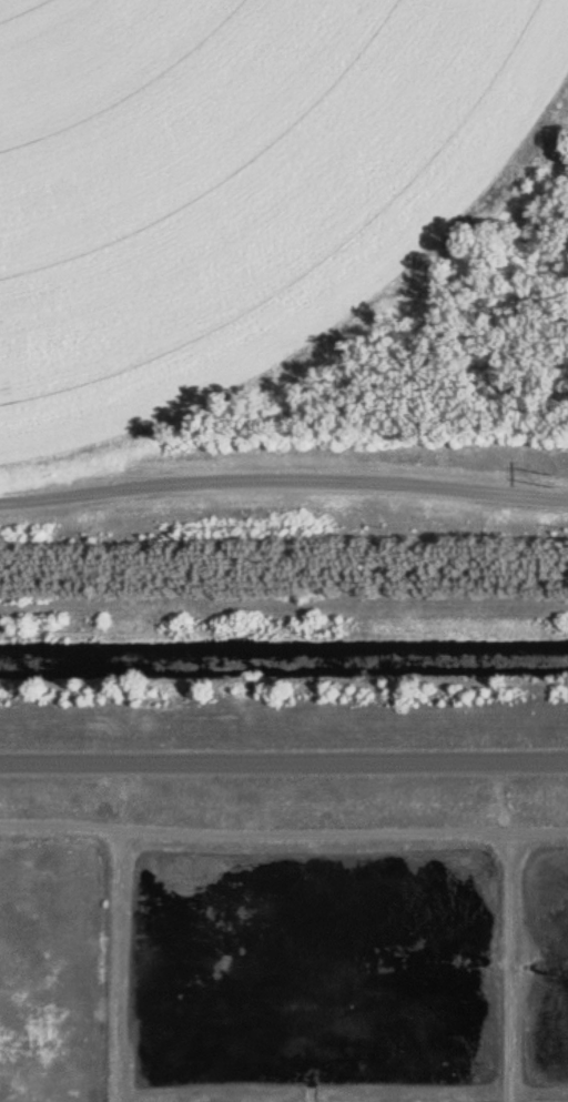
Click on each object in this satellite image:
power tower: (558, 473)
wastewater plant: (284, 550)
road: (284, 755)
road: (283, 825)

